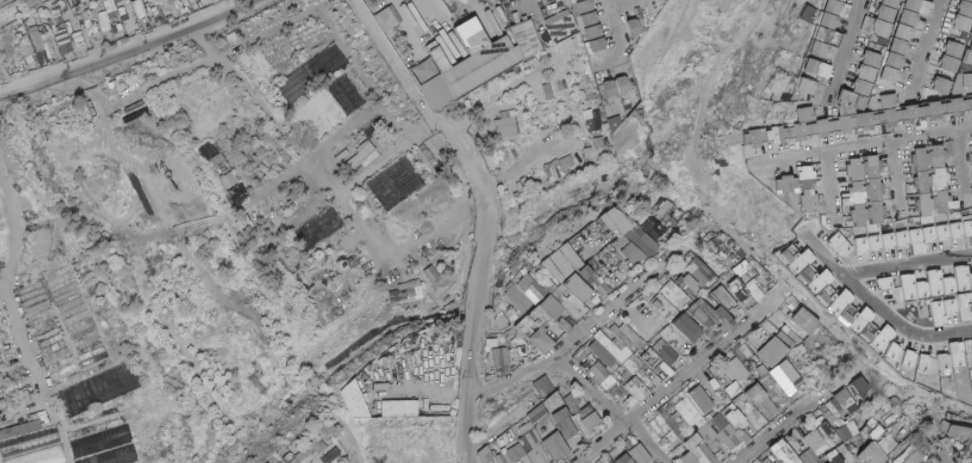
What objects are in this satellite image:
park: (920, 314)

